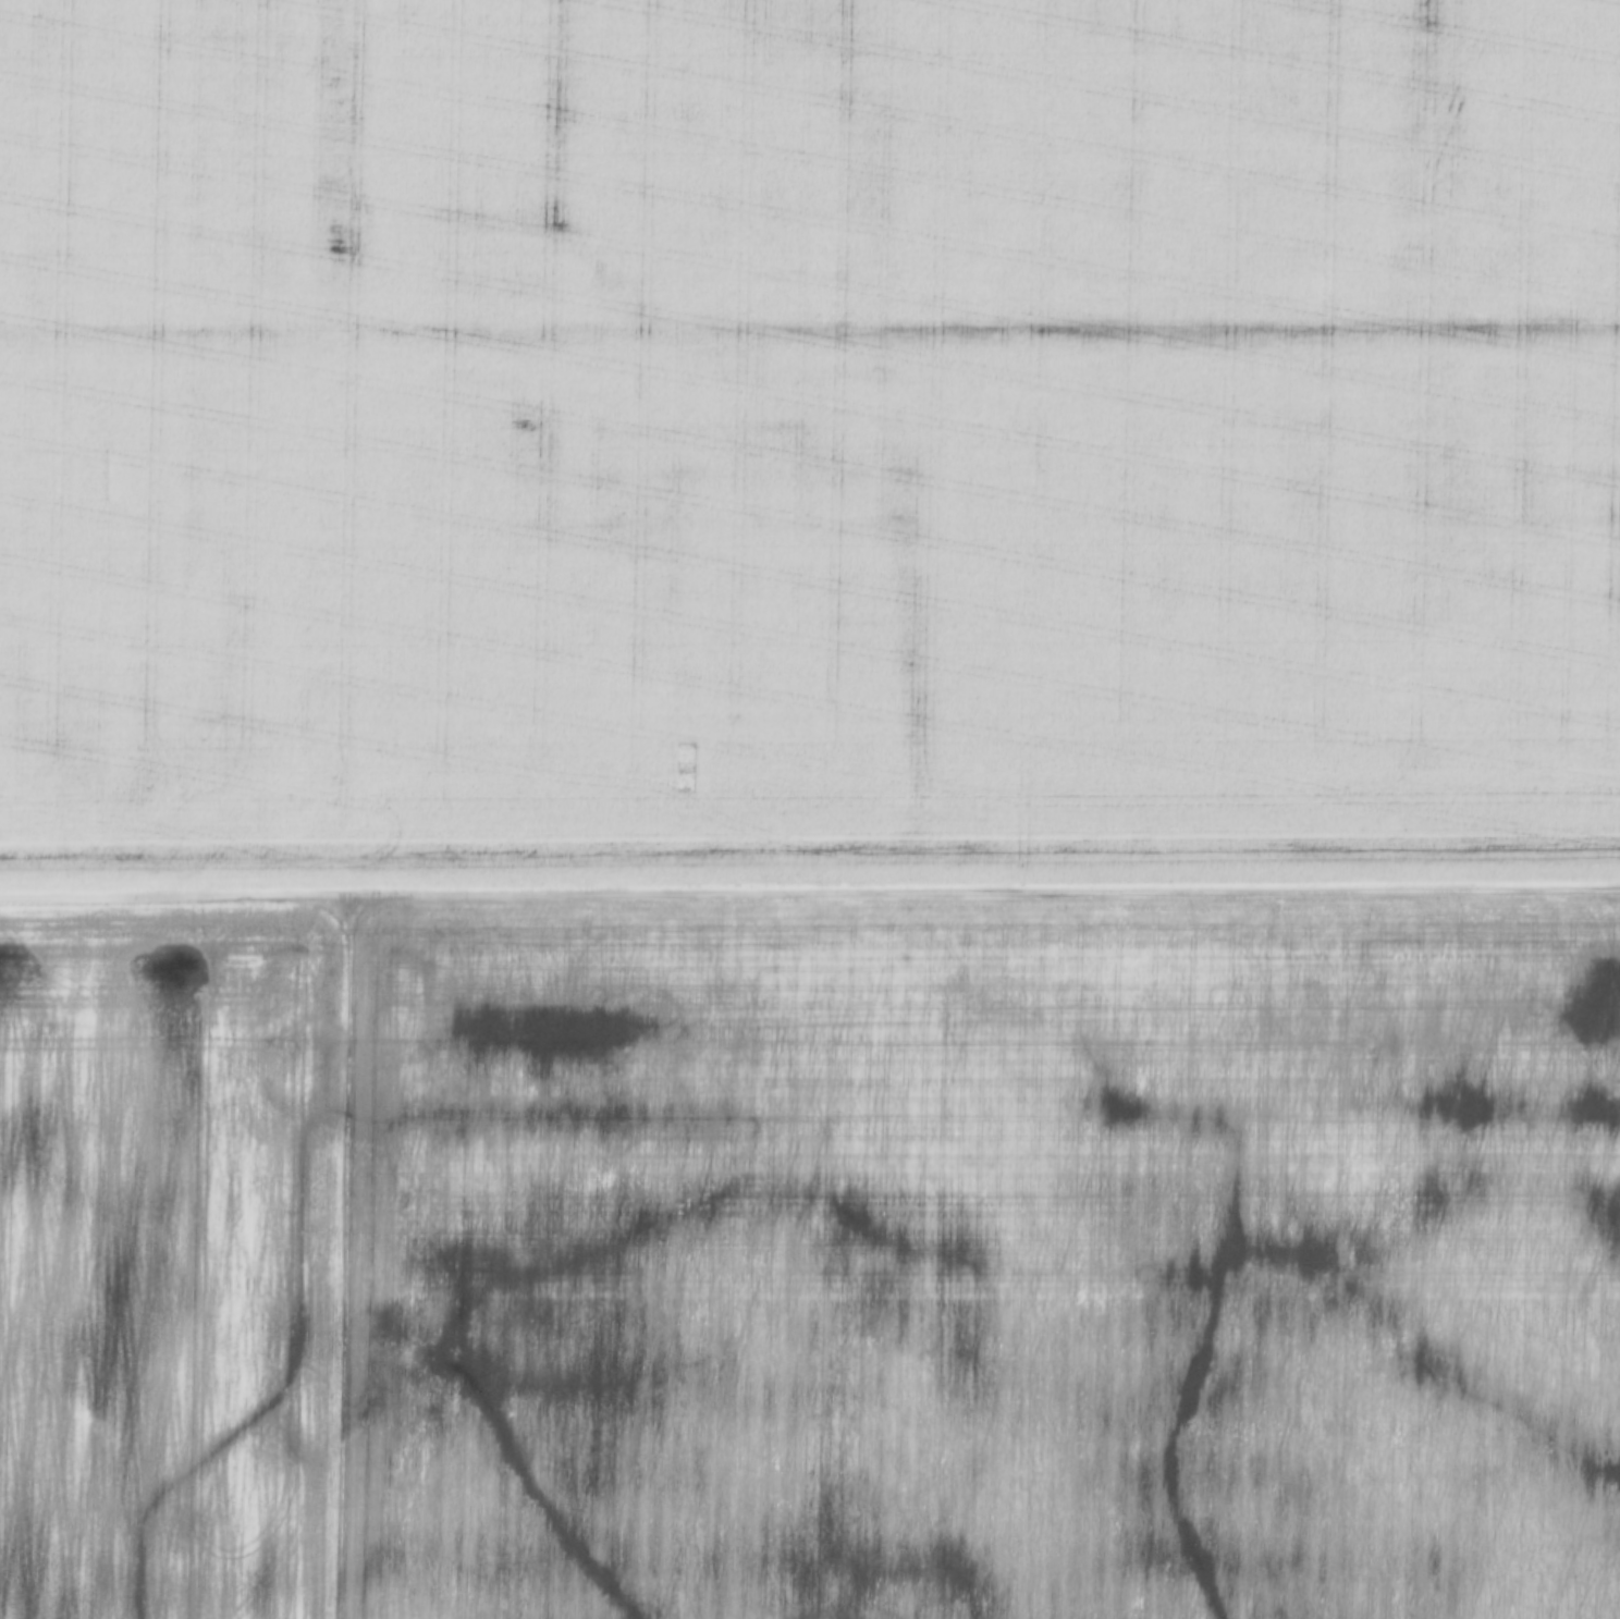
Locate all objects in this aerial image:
crop: (808, 447)
road: (810, 903)
crop: (984, 1261)
crop: (173, 1262)

